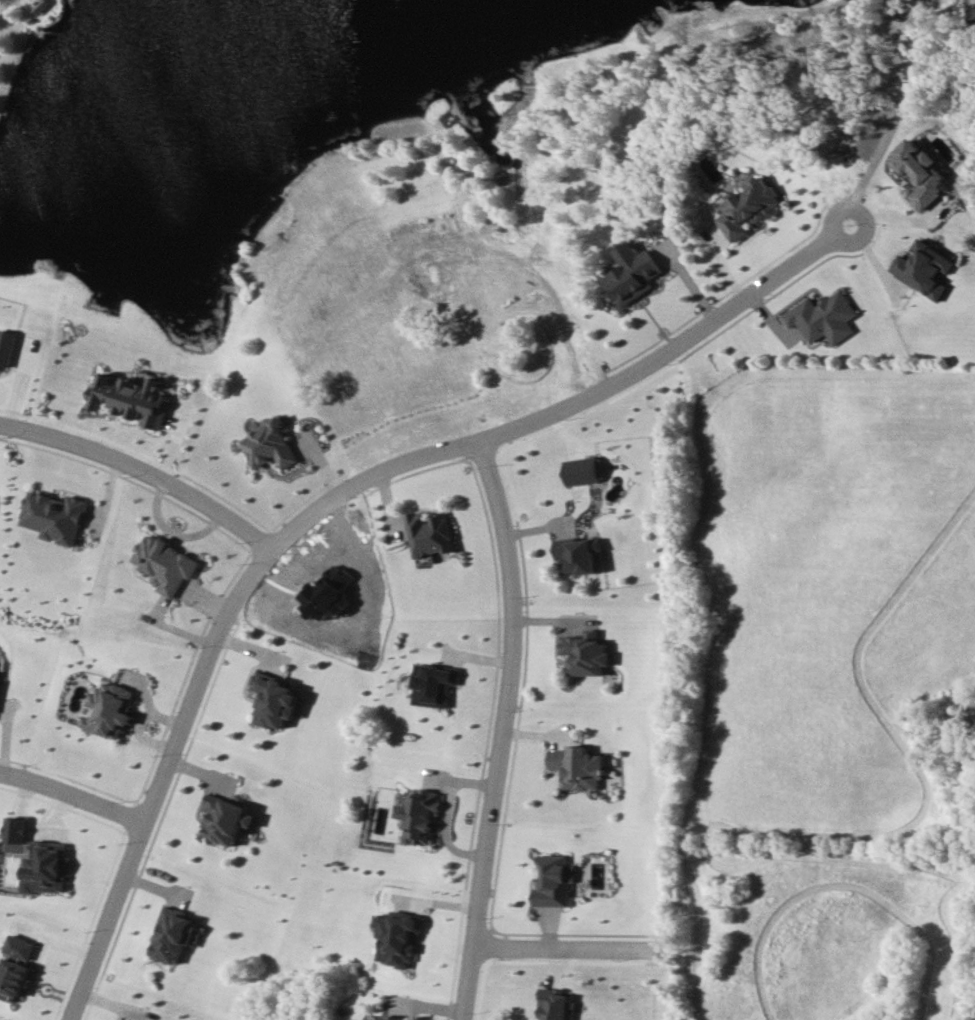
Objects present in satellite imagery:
building: (52, 6)
road: (10, 24)
road: (894, 111)
building: (920, 173)
road: (455, 190)
building: (747, 207)
building: (924, 268)
building: (631, 274)
building: (823, 317)
road: (330, 321)
building: (6, 346)
building: (128, 397)
building: (269, 445)
road: (429, 456)
building: (583, 470)
building: (54, 516)
building: (430, 534)
building: (578, 554)
building: (164, 564)
building: (587, 653)
building: (434, 685)
building: (274, 700)
building: (110, 709)
road: (503, 729)
building: (577, 767)
road: (159, 778)
road: (71, 796)
road: (447, 809)
building: (421, 816)
building: (226, 819)
building: (17, 829)
building: (48, 867)
building: (553, 880)
building: (173, 936)
building: (399, 937)
road: (562, 951)
building: (16, 964)
building: (556, 1005)
building: (376, 1019)

